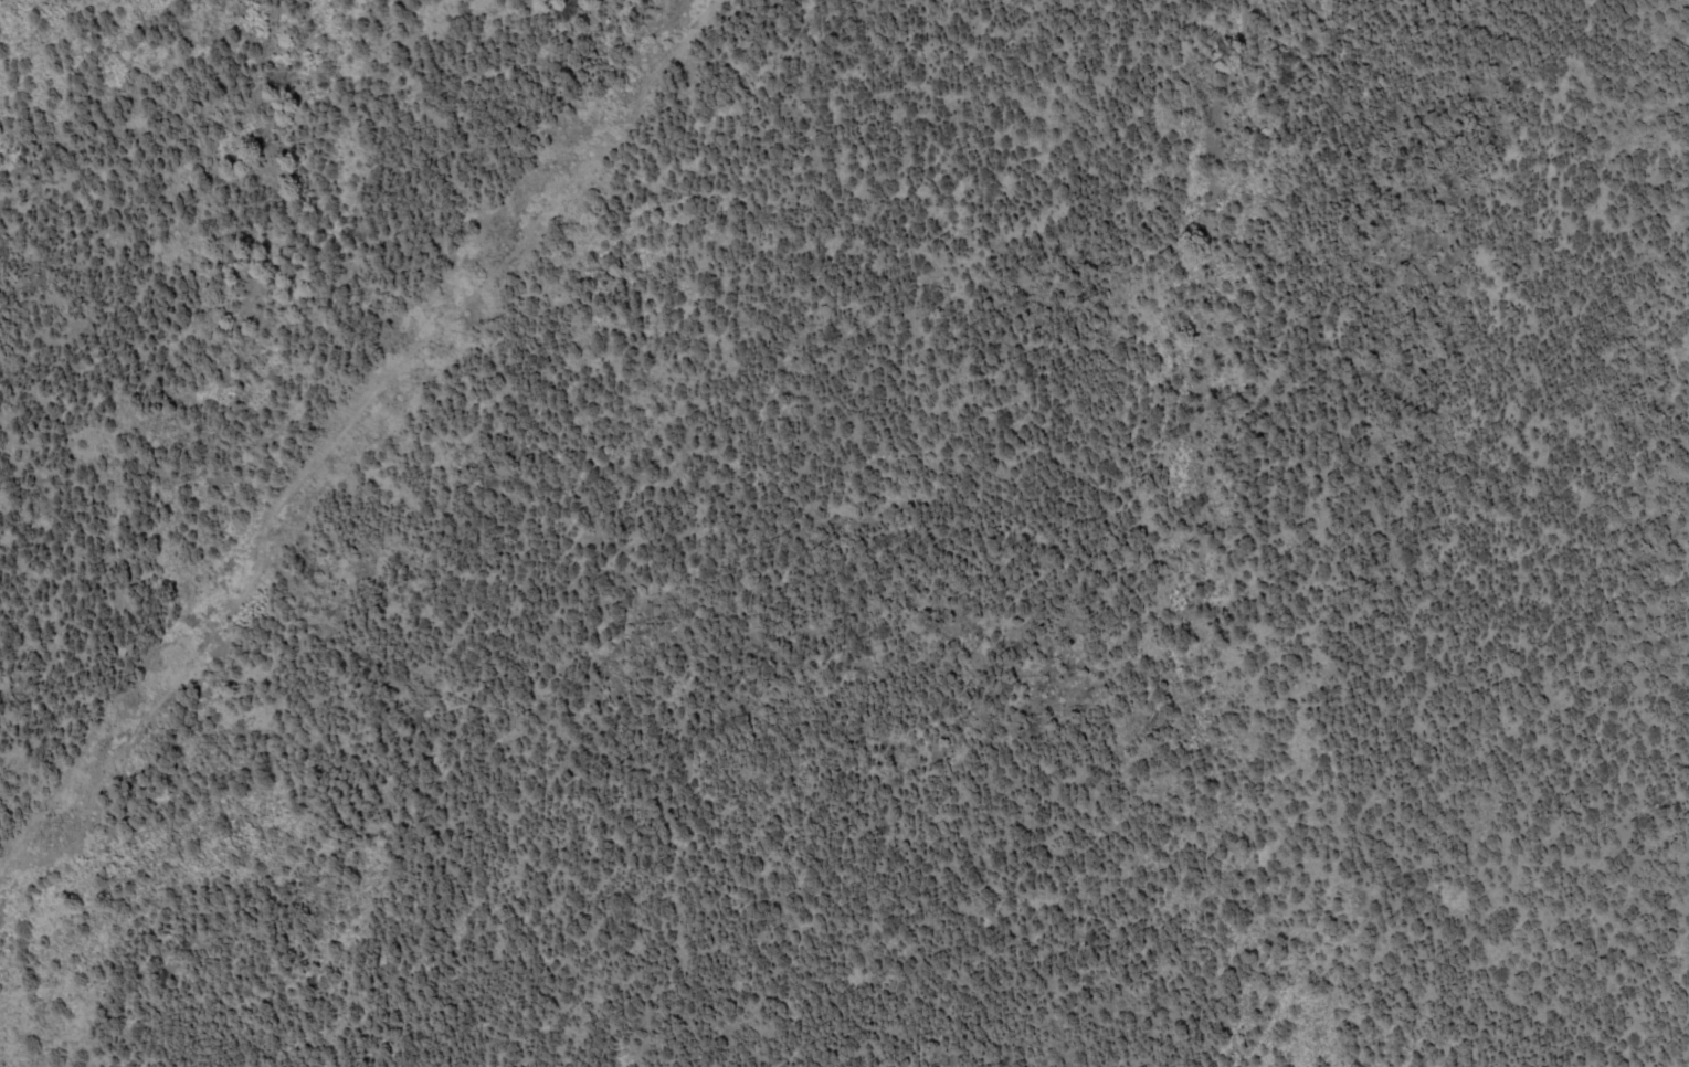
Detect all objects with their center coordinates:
power tower: (482, 276)
power tower: (52, 821)

